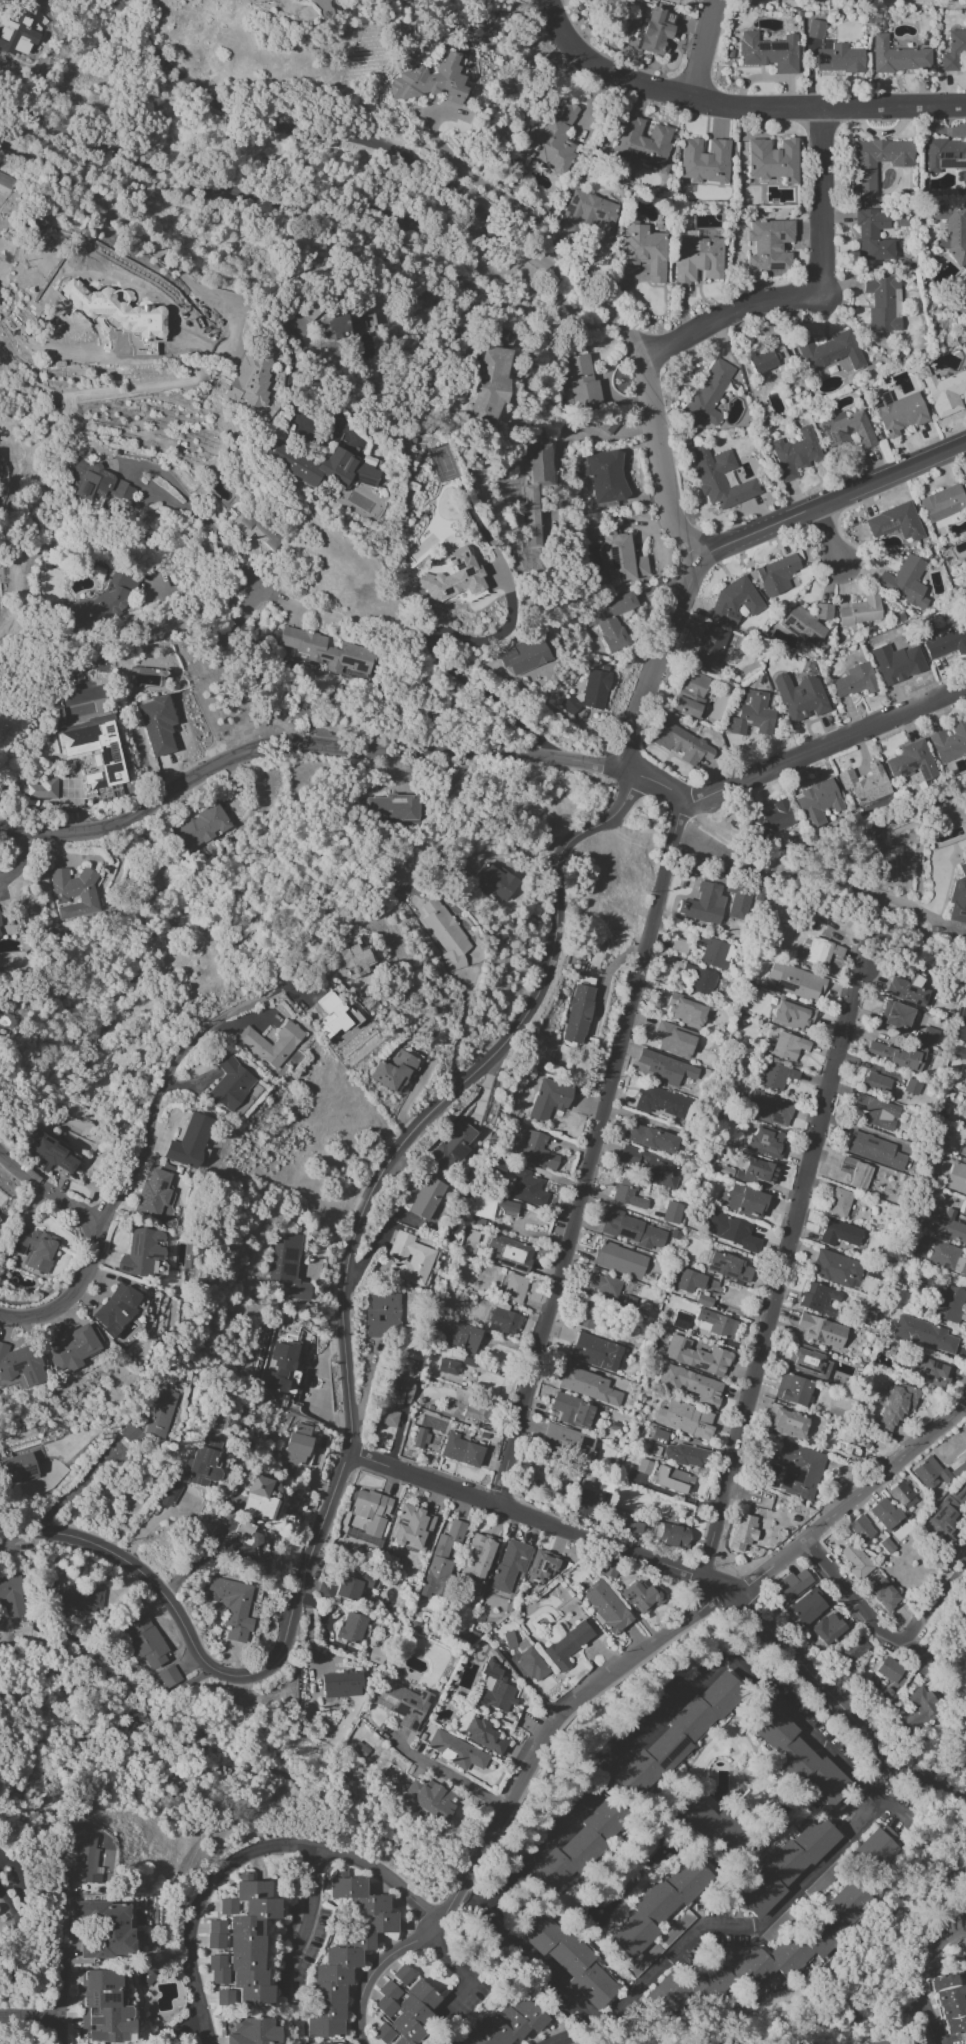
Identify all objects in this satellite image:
building: (13, 27)
building: (815, 29)
building: (655, 30)
road: (703, 50)
building: (954, 50)
building: (769, 52)
building: (897, 56)
building: (839, 59)
road: (601, 72)
building: (430, 81)
road: (892, 107)
road: (755, 108)
building: (552, 140)
building: (642, 143)
building: (946, 156)
building: (704, 160)
building: (772, 160)
road: (377, 164)
building: (6, 180)
building: (865, 181)
road: (490, 186)
road: (243, 196)
building: (589, 215)
road: (116, 220)
building: (952, 231)
building: (872, 234)
building: (769, 244)
building: (643, 249)
building: (697, 258)
building: (965, 285)
road: (807, 286)
building: (883, 304)
building: (119, 315)
building: (335, 324)
building: (505, 336)
building: (829, 351)
building: (768, 359)
building: (252, 377)
building: (491, 383)
building: (582, 383)
road: (306, 388)
building: (946, 393)
building: (708, 394)
building: (898, 412)
building: (846, 430)
road: (597, 434)
building: (795, 453)
road: (662, 463)
building: (324, 466)
building: (606, 476)
building: (720, 478)
building: (94, 480)
building: (965, 481)
building: (536, 490)
road: (830, 503)
building: (942, 503)
building: (895, 522)
road: (832, 539)
building: (622, 558)
road: (238, 563)
building: (776, 574)
building: (452, 577)
building: (905, 582)
building: (734, 601)
road: (188, 604)
building: (860, 611)
building: (613, 620)
building: (808, 625)
building: (940, 640)
building: (710, 647)
building: (326, 652)
road: (657, 660)
building: (900, 662)
building: (854, 681)
building: (589, 692)
building: (691, 695)
building: (800, 697)
building: (751, 715)
road: (563, 717)
building: (157, 724)
building: (678, 742)
building: (949, 742)
road: (303, 743)
road: (824, 745)
building: (93, 749)
building: (911, 761)
road: (653, 782)
building: (865, 784)
building: (42, 788)
building: (817, 802)
building: (393, 808)
building: (771, 818)
building: (201, 827)
building: (868, 835)
road: (518, 847)
building: (495, 880)
building: (715, 886)
building: (74, 893)
building: (958, 897)
road: (959, 931)
building: (445, 934)
building: (0, 936)
building: (713, 951)
building: (826, 956)
building: (351, 957)
building: (697, 980)
building: (796, 982)
building: (907, 990)
building: (329, 1006)
building: (685, 1009)
building: (577, 1014)
building: (793, 1014)
building: (895, 1015)
road: (459, 1027)
building: (929, 1036)
building: (674, 1039)
building: (252, 1041)
building: (788, 1046)
building: (896, 1055)
building: (665, 1068)
building: (393, 1071)
building: (964, 1071)
building: (777, 1076)
building: (875, 1082)
building: (230, 1084)
building: (911, 1086)
building: (549, 1099)
building: (660, 1102)
building: (770, 1108)
building: (877, 1112)
building: (649, 1137)
building: (190, 1141)
building: (766, 1142)
building: (452, 1146)
building: (874, 1150)
building: (964, 1150)
building: (539, 1151)
road: (591, 1153)
road: (140, 1165)
building: (649, 1166)
building: (756, 1171)
building: (855, 1172)
building: (956, 1178)
road: (44, 1187)
building: (527, 1188)
building: (627, 1194)
building: (155, 1195)
road: (367, 1198)
building: (426, 1198)
building: (745, 1201)
building: (838, 1203)
building: (492, 1206)
building: (672, 1212)
building: (963, 1213)
building: (945, 1224)
building: (632, 1230)
building: (729, 1230)
building: (840, 1234)
building: (36, 1250)
building: (141, 1252)
building: (510, 1252)
building: (935, 1252)
building: (410, 1258)
building: (620, 1260)
road: (786, 1262)
building: (288, 1266)
building: (728, 1267)
building: (836, 1269)
building: (690, 1281)
building: (602, 1284)
building: (514, 1288)
building: (817, 1297)
building: (941, 1298)
building: (703, 1300)
building: (628, 1303)
building: (117, 1308)
building: (381, 1313)
building: (680, 1320)
building: (504, 1321)
building: (715, 1324)
building: (821, 1331)
building: (923, 1334)
building: (462, 1337)
building: (74, 1348)
building: (596, 1352)
building: (695, 1356)
building: (808, 1361)
building: (20, 1366)
building: (448, 1367)
building: (284, 1370)
building: (930, 1372)
building: (692, 1385)
building: (588, 1386)
building: (792, 1390)
building: (398, 1391)
building: (896, 1405)
building: (573, 1411)
building: (159, 1413)
building: (475, 1413)
building: (387, 1417)
building: (684, 1420)
building: (789, 1424)
building: (131, 1432)
building: (659, 1437)
building: (420, 1438)
building: (568, 1441)
building: (297, 1444)
building: (850, 1445)
building: (461, 1450)
building: (686, 1456)
building: (203, 1463)
building: (643, 1466)
building: (18, 1468)
building: (799, 1470)
building: (935, 1473)
road: (424, 1478)
building: (671, 1479)
road: (74, 1489)
building: (169, 1493)
building: (901, 1495)
road: (853, 1497)
building: (262, 1498)
building: (583, 1503)
building: (371, 1511)
building: (884, 1514)
building: (946, 1518)
road: (154, 1521)
building: (622, 1521)
building: (412, 1528)
building: (860, 1528)
building: (742, 1531)
building: (672, 1535)
building: (244, 1542)
building: (886, 1546)
road: (200, 1556)
building: (442, 1560)
building: (478, 1561)
building: (855, 1561)
building: (509, 1564)
road: (138, 1565)
building: (543, 1567)
building: (609, 1568)
building: (351, 1585)
building: (791, 1585)
building: (325, 1590)
road: (849, 1591)
building: (884, 1594)
building: (12, 1595)
building: (75, 1597)
building: (642, 1597)
road: (751, 1601)
building: (232, 1606)
building: (808, 1606)
building: (606, 1607)
road: (934, 1611)
building: (351, 1628)
building: (827, 1628)
building: (144, 1639)
building: (567, 1645)
building: (850, 1654)
building: (376, 1655)
building: (886, 1672)
building: (169, 1677)
building: (341, 1684)
building: (495, 1689)
building: (402, 1703)
building: (915, 1708)
park: (961, 1711)
road: (670, 1712)
building: (678, 1735)
building: (483, 1736)
building: (359, 1750)
building: (455, 1750)
building: (798, 1756)
road: (448, 1771)
road: (513, 1790)
road: (953, 1796)
building: (431, 1798)
road: (964, 1800)
building: (700, 1819)
building: (575, 1848)
building: (871, 1852)
road: (245, 1854)
building: (79, 1859)
building: (786, 1865)
road: (18, 1890)
road: (789, 1895)
building: (656, 1906)
road: (11, 1910)
road: (961, 1916)
road: (309, 1917)
road: (961, 1926)
building: (105, 1929)
building: (215, 1934)
building: (249, 1938)
building: (345, 1956)
building: (567, 1958)
building: (761, 1959)
road: (24, 1963)
building: (218, 1969)
road: (61, 1972)
road: (462, 1972)
building: (403, 1974)
road: (921, 1975)
road: (552, 1980)
building: (225, 1997)
building: (948, 2003)
building: (103, 2006)
building: (404, 2011)
road: (30, 2013)
building: (505, 2024)
road: (179, 2027)
building: (254, 2032)
building: (321, 2043)
building: (885, 2043)

